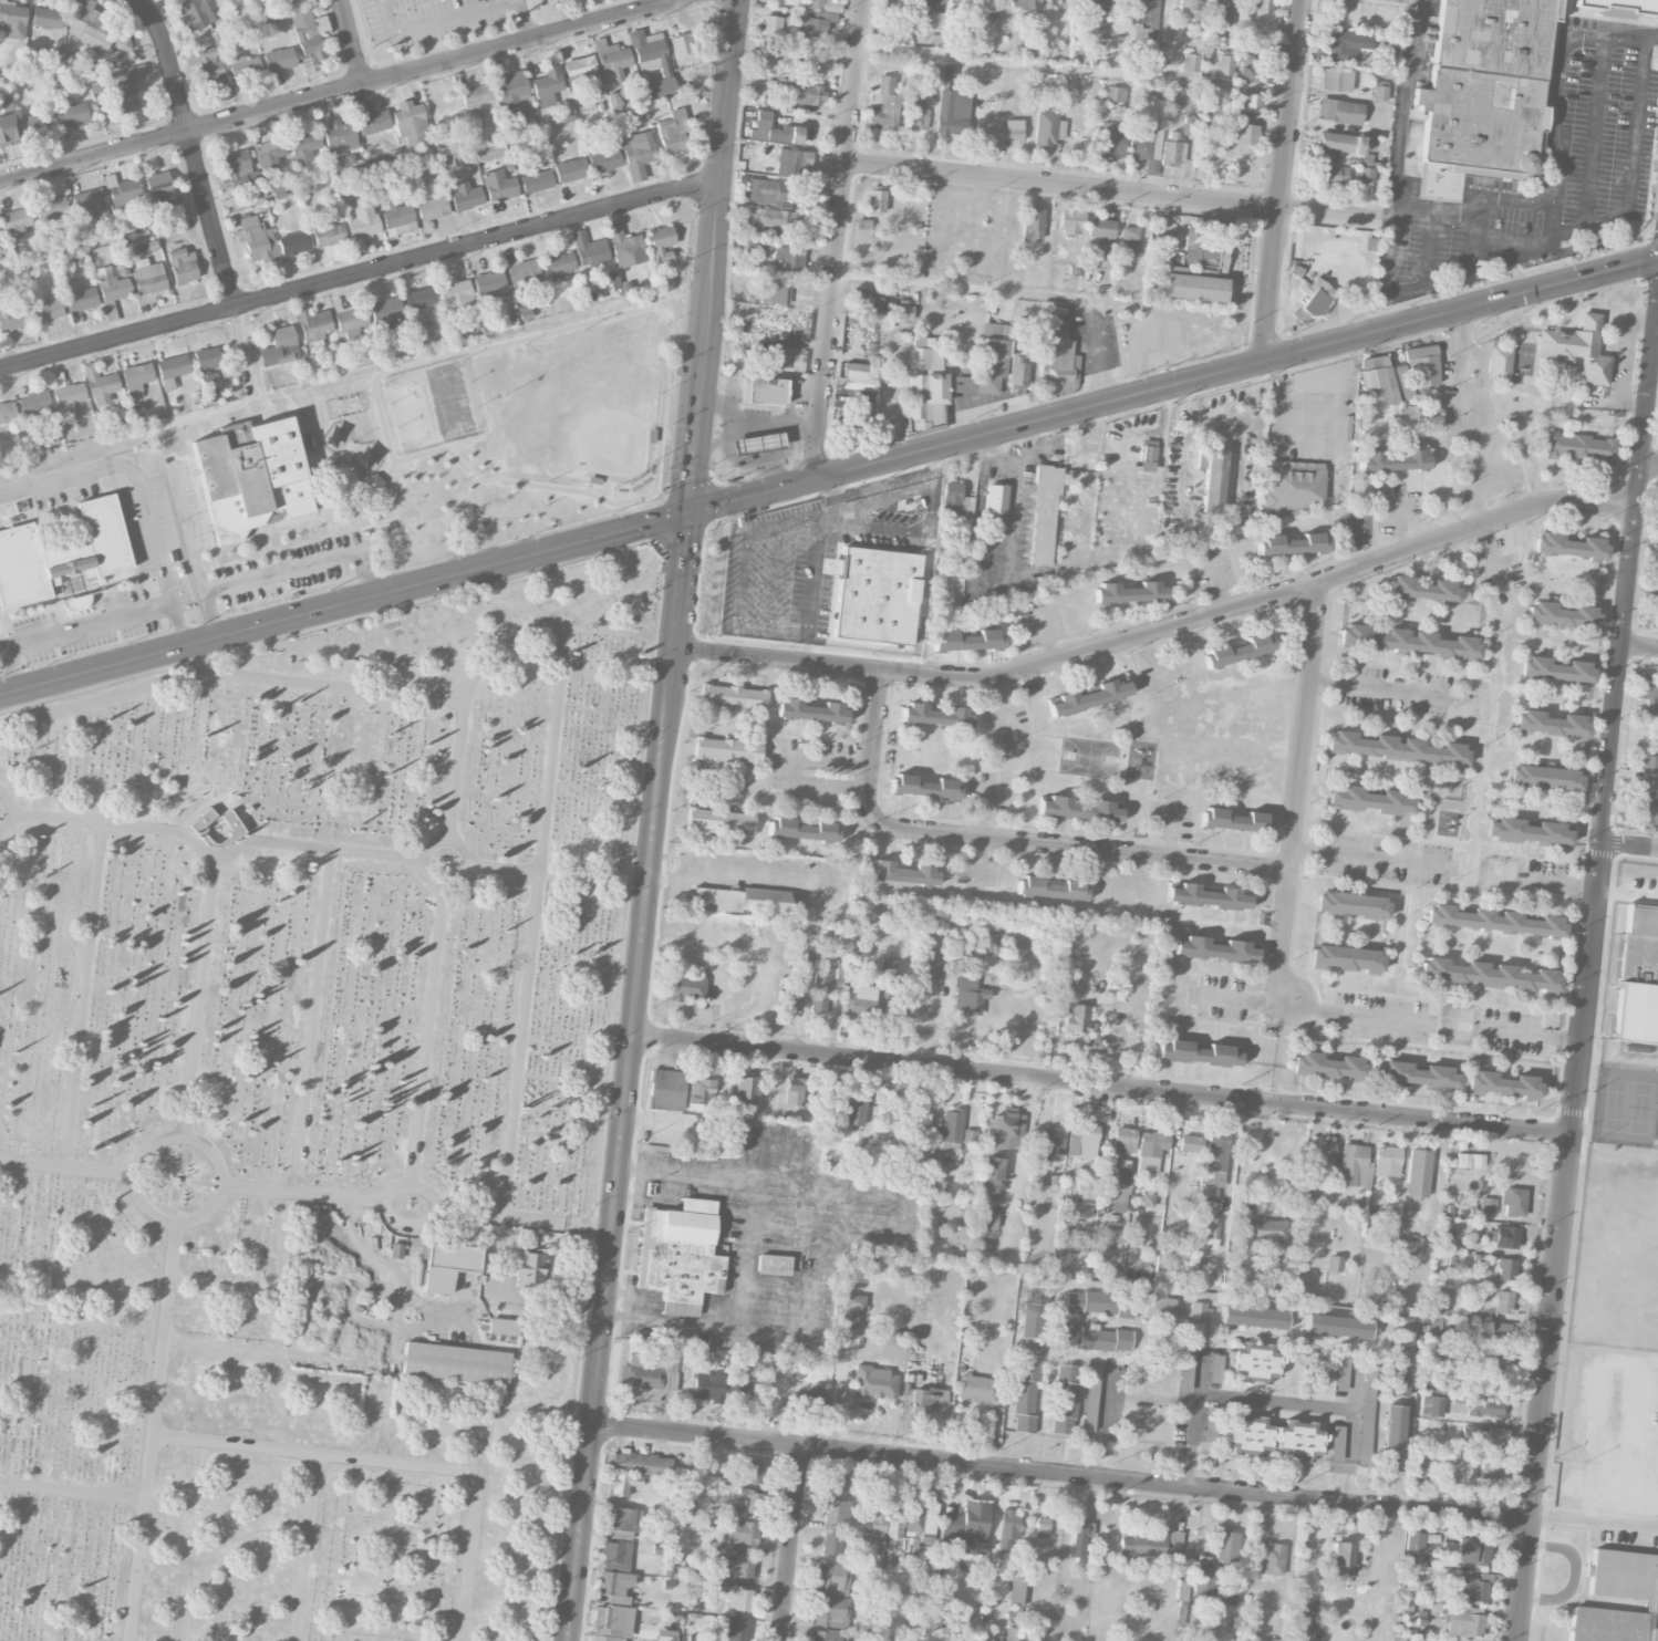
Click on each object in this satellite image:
building: (284, 0)
building: (932, 3)
building: (1024, 3)
building: (822, 4)
building: (1263, 6)
building: (1623, 7)
building: (1094, 8)
building: (1190, 10)
building: (1220, 12)
building: (194, 13)
building: (46, 18)
building: (12, 20)
road: (526, 20)
road: (439, 21)
building: (935, 21)
building: (1141, 21)
building: (972, 22)
building: (771, 25)
building: (812, 27)
building: (1100, 29)
building: (94, 30)
building: (898, 30)
building: (309, 39)
road: (352, 42)
building: (1346, 45)
building: (684, 53)
building: (1387, 58)
building: (279, 59)
building: (611, 61)
building: (652, 62)
building: (1191, 62)
building: (207, 65)
building: (245, 65)
building: (1225, 65)
road: (1074, 70)
building: (582, 71)
building: (1255, 74)
building: (1336, 79)
building: (547, 86)
building: (124, 87)
building: (1488, 87)
building: (510, 89)
road: (339, 91)
building: (1379, 91)
building: (1115, 94)
building: (476, 95)
building: (798, 95)
building: (1209, 102)
building: (1251, 102)
road: (1402, 103)
building: (883, 105)
building: (1339, 111)
building: (71, 113)
building: (952, 113)
building: (916, 115)
building: (373, 122)
building: (410, 122)
building: (38, 123)
building: (1047, 127)
building: (8, 129)
building: (773, 129)
building: (673, 132)
building: (1013, 132)
building: (1244, 133)
road: (1594, 133)
building: (339, 138)
building: (1110, 139)
building: (1140, 139)
building: (303, 144)
building: (455, 144)
building: (1338, 145)
road: (191, 148)
building: (489, 152)
building: (269, 153)
building: (638, 153)
building: (1174, 153)
building: (603, 159)
road: (1555, 159)
building: (792, 163)
road: (1630, 166)
building: (238, 167)
building: (570, 169)
building: (1329, 175)
building: (1365, 175)
road: (1281, 180)
building: (536, 181)
building: (499, 185)
road: (1063, 185)
building: (160, 189)
building: (768, 191)
building: (122, 193)
building: (466, 196)
building: (875, 200)
building: (90, 202)
building: (50, 208)
building: (432, 208)
road: (1330, 214)
building: (770, 217)
building: (397, 218)
building: (362, 219)
building: (1071, 221)
building: (15, 222)
building: (1033, 224)
building: (862, 229)
building: (1101, 229)
building: (328, 233)
building: (253, 239)
road: (838, 240)
building: (293, 242)
building: (662, 242)
building: (1130, 242)
road: (1431, 243)
road: (1531, 245)
building: (624, 246)
building: (755, 248)
building: (588, 249)
road: (713, 256)
building: (790, 257)
building: (183, 266)
building: (559, 267)
building: (1196, 270)
road: (359, 273)
building: (524, 276)
building: (148, 280)
road: (1410, 281)
road: (1575, 282)
building: (112, 284)
building: (489, 285)
road: (961, 285)
building: (774, 293)
building: (455, 295)
building: (80, 297)
building: (419, 298)
building: (1313, 299)
building: (869, 300)
building: (46, 310)
building: (901, 311)
building: (12, 315)
building: (386, 318)
building: (351, 322)
building: (313, 325)
road: (243, 347)
building: (1577, 349)
road: (1096, 352)
building: (761, 356)
building: (1060, 360)
building: (208, 364)
building: (1499, 364)
building: (1421, 365)
road: (1469, 365)
building: (173, 366)
building: (1017, 373)
building: (859, 375)
building: (136, 376)
building: (950, 377)
building: (1375, 382)
building: (1400, 383)
building: (101, 384)
building: (767, 391)
building: (69, 397)
building: (34, 405)
road: (1088, 408)
building: (7, 412)
building: (1403, 416)
park: (498, 433)
building: (756, 443)
building: (1579, 447)
building: (366, 457)
building: (1392, 460)
road: (1649, 470)
building: (250, 476)
building: (1211, 477)
building: (371, 482)
building: (1291, 488)
road: (143, 490)
road: (900, 492)
building: (951, 497)
building: (995, 498)
traffic signals: (685, 512)
building: (1044, 516)
road: (784, 533)
building: (1291, 543)
road: (191, 546)
building: (1569, 546)
road: (817, 551)
building: (61, 553)
road: (299, 565)
road: (743, 578)
road: (1216, 579)
road: (778, 580)
road: (991, 586)
building: (1420, 589)
building: (1129, 592)
building: (877, 595)
building: (1656, 602)
road: (342, 604)
building: (1561, 614)
road: (86, 625)
road: (1162, 627)
road: (775, 629)
building: (967, 641)
building: (1406, 642)
road: (773, 643)
road: (1640, 644)
road: (1563, 645)
building: (1237, 651)
road: (1406, 668)
building: (1555, 669)
road: (229, 673)
road: (4, 676)
road: (1380, 689)
building: (1646, 695)
building: (733, 697)
building: (1089, 697)
road: (1495, 708)
building: (810, 710)
building: (1657, 710)
road: (1006, 713)
road: (1399, 715)
building: (934, 716)
building: (1550, 724)
building: (1393, 747)
building: (727, 750)
road: (1552, 752)
building: (1648, 765)
road: (794, 769)
building: (1544, 778)
road: (548, 785)
building: (923, 787)
building: (1647, 789)
road: (1298, 794)
building: (1369, 800)
building: (1078, 809)
road: (8, 810)
building: (1645, 814)
building: (1233, 820)
building: (719, 821)
building: (203, 824)
building: (230, 828)
building: (801, 829)
building: (1527, 831)
road: (1385, 837)
road: (448, 839)
road: (1007, 839)
road: (1630, 847)
road: (213, 856)
road: (1376, 859)
road: (1536, 859)
road: (505, 868)
road: (719, 872)
building: (900, 873)
road: (1524, 877)
road: (1561, 885)
building: (1049, 889)
road: (1443, 889)
building: (1206, 896)
building: (715, 899)
building: (764, 900)
building: (1351, 905)
building: (1494, 921)
road: (1406, 942)
building: (1214, 949)
building: (1345, 958)
building: (1490, 975)
building: (1638, 976)
building: (887, 977)
road: (1589, 980)
building: (687, 988)
building: (819, 990)
building: (968, 993)
road: (84, 995)
road: (198, 997)
building: (789, 999)
road: (1431, 999)
building: (862, 1000)
road: (1315, 1008)
road: (312, 1020)
building: (1078, 1020)
road: (1531, 1035)
road: (427, 1036)
building: (1196, 1053)
building: (1326, 1064)
building: (1415, 1074)
road: (622, 1076)
road: (1099, 1083)
building: (1503, 1084)
building: (748, 1086)
building: (666, 1090)
building: (795, 1090)
building: (701, 1091)
building: (854, 1110)
park: (310, 1118)
building: (1006, 1128)
building: (950, 1129)
road: (183, 1136)
road: (1027, 1138)
building: (1125, 1140)
building: (1053, 1141)
building: (1082, 1142)
building: (1191, 1143)
building: (1150, 1151)
building: (1320, 1151)
building: (1386, 1161)
building: (1214, 1164)
building: (1354, 1166)
road: (68, 1167)
road: (683, 1172)
building: (1418, 1173)
building: (991, 1177)
building: (1121, 1190)
building: (1085, 1192)
road: (301, 1193)
road: (645, 1199)
building: (1147, 1199)
building: (1512, 1201)
road: (697, 1205)
building: (1488, 1205)
road: (733, 1209)
road: (521, 1217)
building: (988, 1219)
road: (422, 1223)
building: (1266, 1230)
building: (1209, 1233)
road: (866, 1235)
building: (1488, 1235)
building: (1505, 1237)
building: (396, 1250)
road: (746, 1253)
building: (680, 1255)
building: (773, 1264)
building: (1334, 1264)
building: (447, 1265)
building: (529, 1267)
building: (1505, 1268)
road: (388, 1269)
building: (1483, 1269)
building: (1235, 1277)
building: (1476, 1296)
road: (632, 1297)
building: (1440, 1301)
building: (1503, 1302)
road: (680, 1304)
building: (1099, 1304)
road: (718, 1308)
building: (851, 1308)
building: (1159, 1308)
building: (1035, 1309)
building: (1195, 1317)
building: (1253, 1317)
road: (670, 1319)
building: (1337, 1326)
building: (502, 1327)
building: (1436, 1328)
building: (1492, 1330)
building: (1096, 1338)
building: (1030, 1346)
building: (1483, 1356)
building: (1254, 1362)
building: (456, 1363)
building: (1399, 1363)
building: (1185, 1368)
building: (1215, 1369)
building: (1343, 1373)
building: (647, 1374)
building: (1491, 1381)
building: (874, 1383)
building: (707, 1386)
road: (1354, 1386)
building: (977, 1388)
building: (740, 1391)
road: (1109, 1393)
building: (1025, 1396)
building: (1090, 1396)
building: (926, 1399)
building: (1065, 1399)
building: (812, 1400)
road: (1275, 1401)
building: (1432, 1405)
building: (1484, 1408)
building: (1367, 1411)
road: (1195, 1422)
building: (1210, 1424)
road: (151, 1431)
building: (1498, 1432)
building: (1470, 1434)
building: (1272, 1436)
building: (1392, 1437)
building: (1336, 1443)
road: (1347, 1455)
road: (394, 1461)
building: (641, 1464)
building: (1420, 1464)
building: (1349, 1467)
building: (1457, 1467)
building: (750, 1471)
building: (1490, 1471)
road: (1060, 1473)
building: (836, 1482)
building: (622, 1484)
road: (72, 1488)
building: (749, 1499)
building: (836, 1514)
road: (1595, 1517)
building: (878, 1519)
building: (622, 1523)
building: (973, 1527)
building: (1042, 1527)
building: (1007, 1528)
building: (911, 1529)
building: (951, 1529)
building: (1084, 1529)
building: (742, 1535)
building: (1413, 1540)
road: (790, 1544)
building: (831, 1544)
building: (1174, 1544)
building: (1143, 1545)
building: (1227, 1545)
road: (303, 1546)
building: (1463, 1551)
building: (615, 1555)
building: (1271, 1558)
building: (1340, 1560)
building: (1202, 1561)
building: (737, 1567)
building: (714, 1569)
building: (1623, 1575)
building: (831, 1579)
building: (1204, 1579)
building: (615, 1586)
building: (1473, 1588)
building: (1016, 1591)
building: (1230, 1596)
building: (736, 1600)
building: (831, 1611)
building: (1464, 1621)
building: (612, 1623)
building: (868, 1623)
building: (733, 1629)
building: (1009, 1633)
building: (666, 1634)
building: (828, 1635)
building: (701, 1639)

